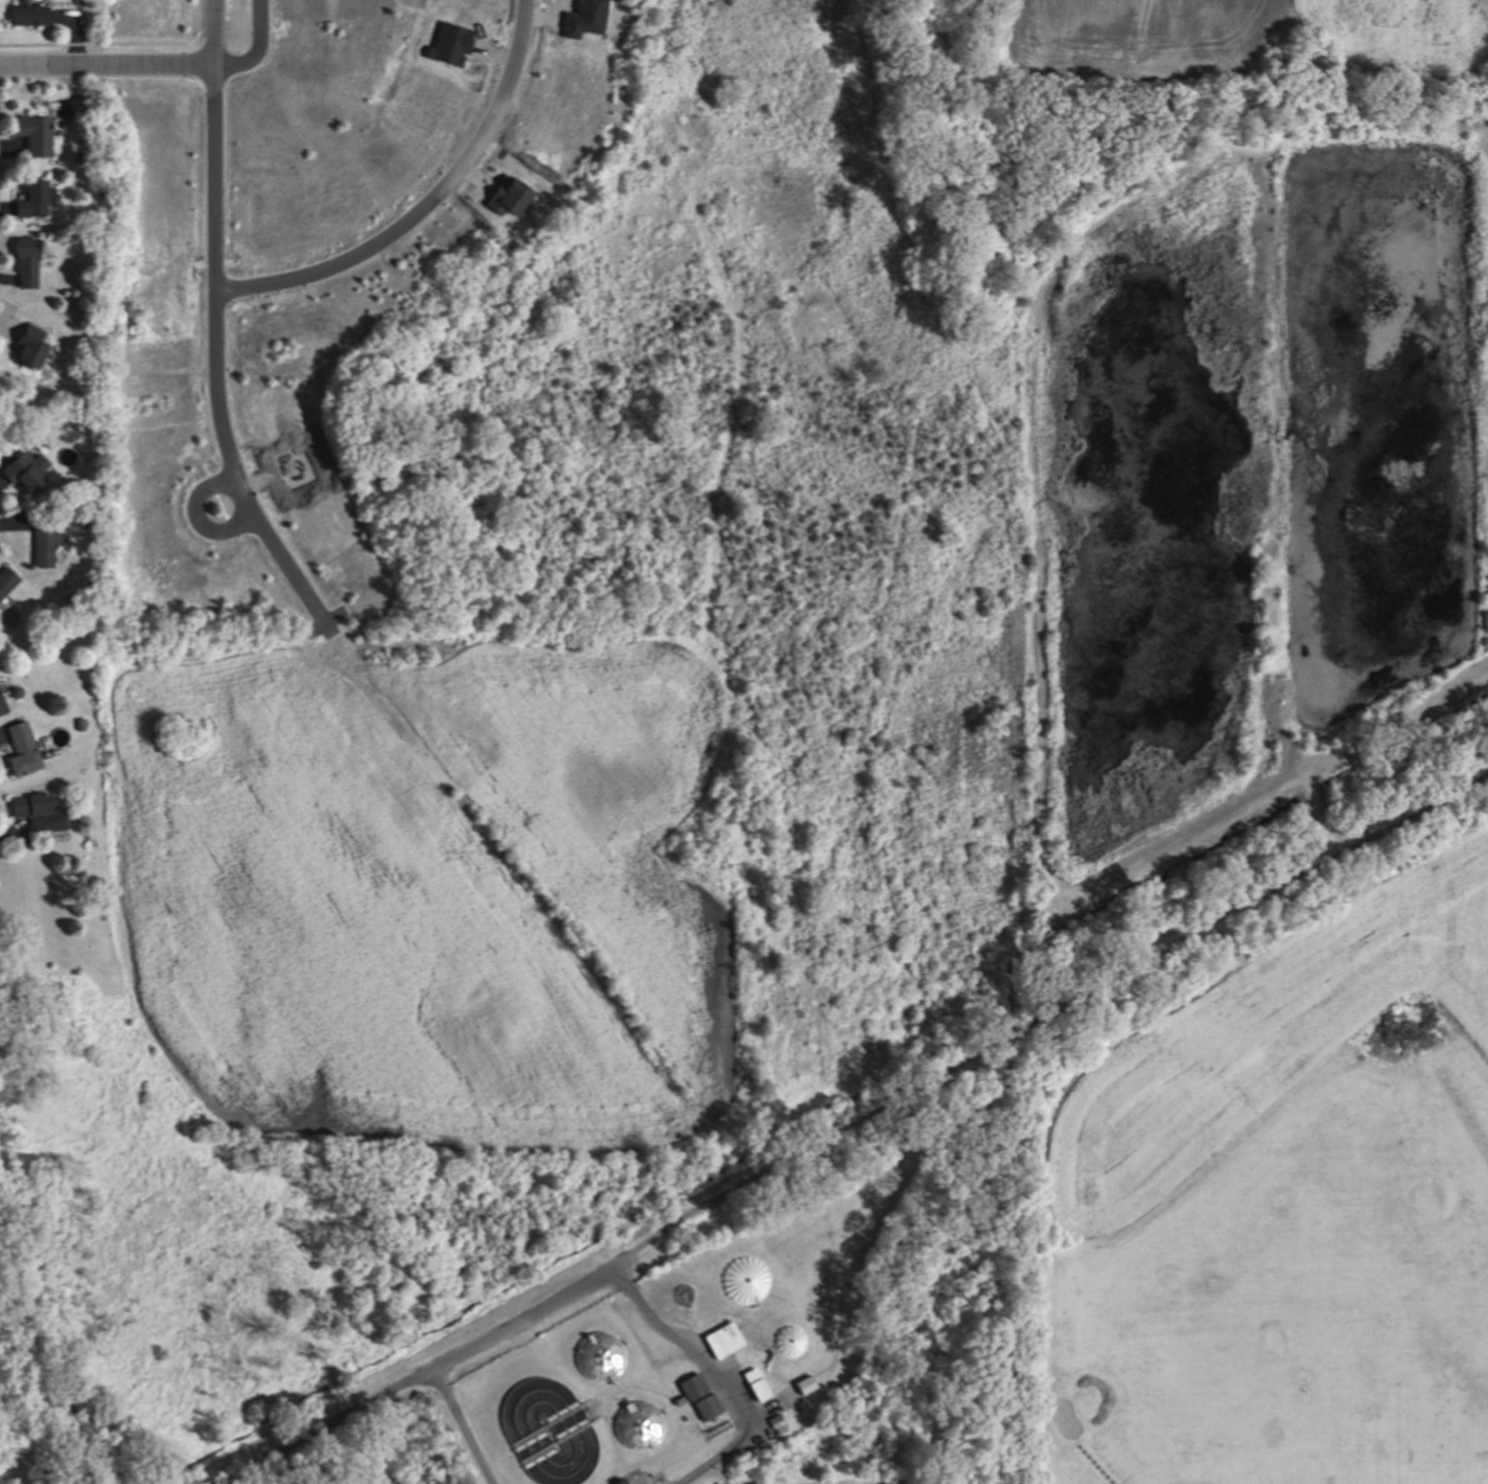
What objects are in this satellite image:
building: (26, 14)
building: (585, 19)
building: (451, 45)
road: (254, 50)
road: (106, 66)
building: (31, 133)
building: (29, 199)
building: (508, 199)
road: (426, 205)
building: (24, 262)
road: (214, 334)
building: (27, 346)
building: (11, 441)
building: (24, 471)
building: (84, 508)
road: (202, 517)
building: (41, 539)
building: (6, 579)
building: (59, 638)
building: (13, 691)
building: (0, 700)
building: (2, 705)
building: (77, 721)
building: (20, 748)
building: (31, 809)
road: (1048, 1021)
building: (742, 1280)
park: (1291, 1297)
building: (722, 1340)
building: (787, 1340)
building: (597, 1354)
road: (414, 1374)
road: (715, 1376)
building: (756, 1383)
building: (803, 1383)
building: (692, 1386)
building: (677, 1400)
building: (707, 1405)
building: (776, 1423)
road: (461, 1424)
building: (636, 1425)
building: (617, 1481)

